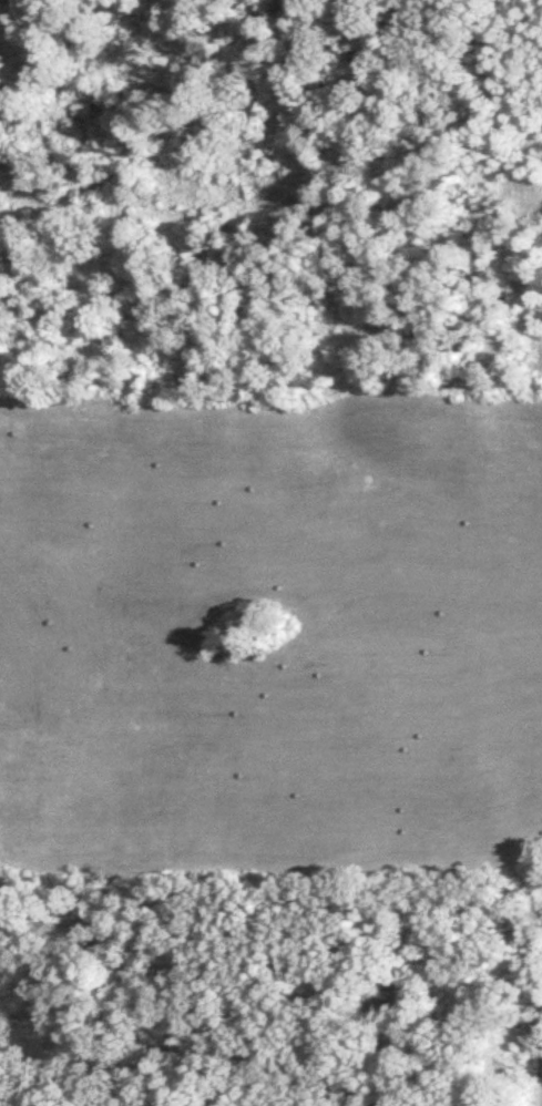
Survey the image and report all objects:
road: (392, 101)

